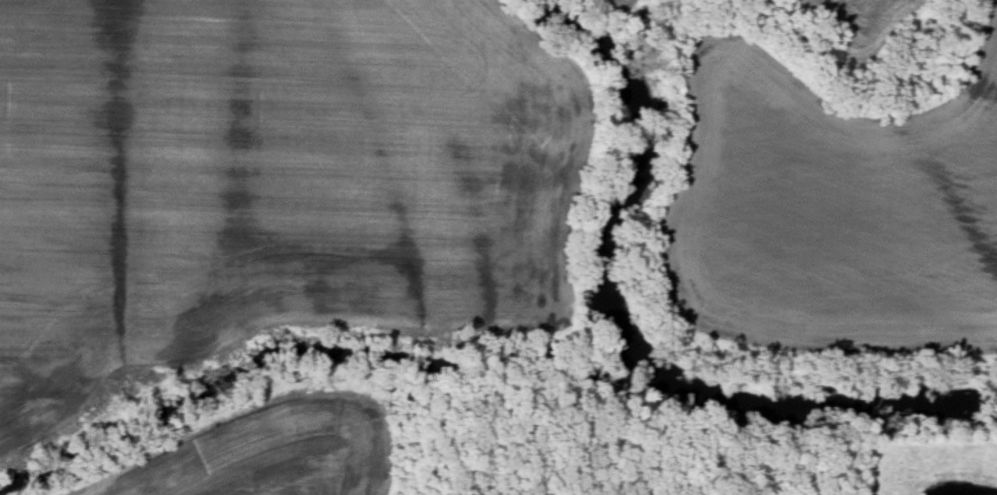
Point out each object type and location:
river: (624, 342)
crop: (284, 443)

